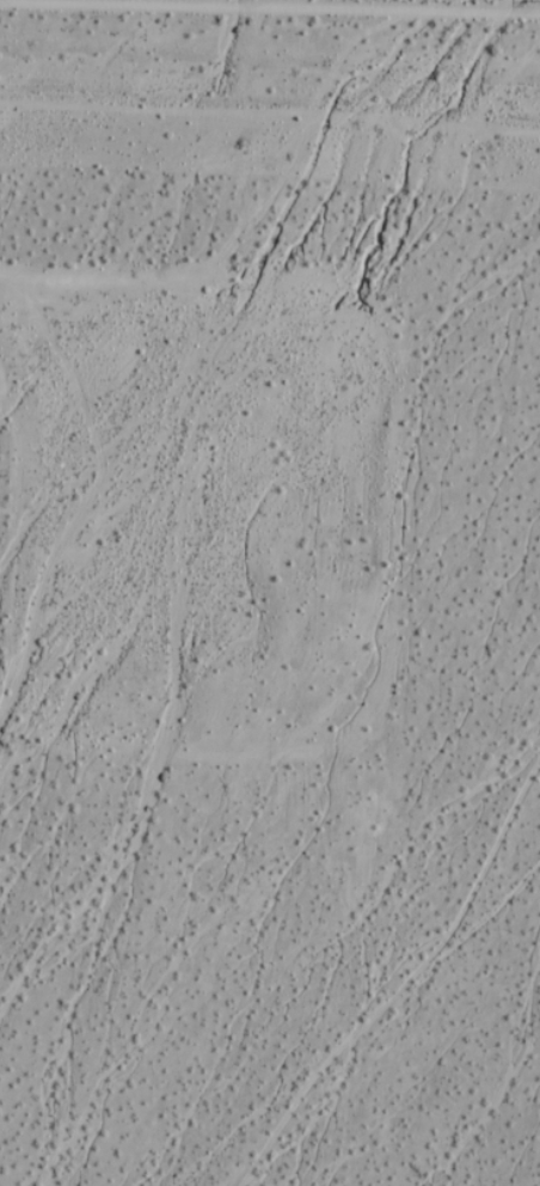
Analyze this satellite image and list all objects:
road: (270, 10)

